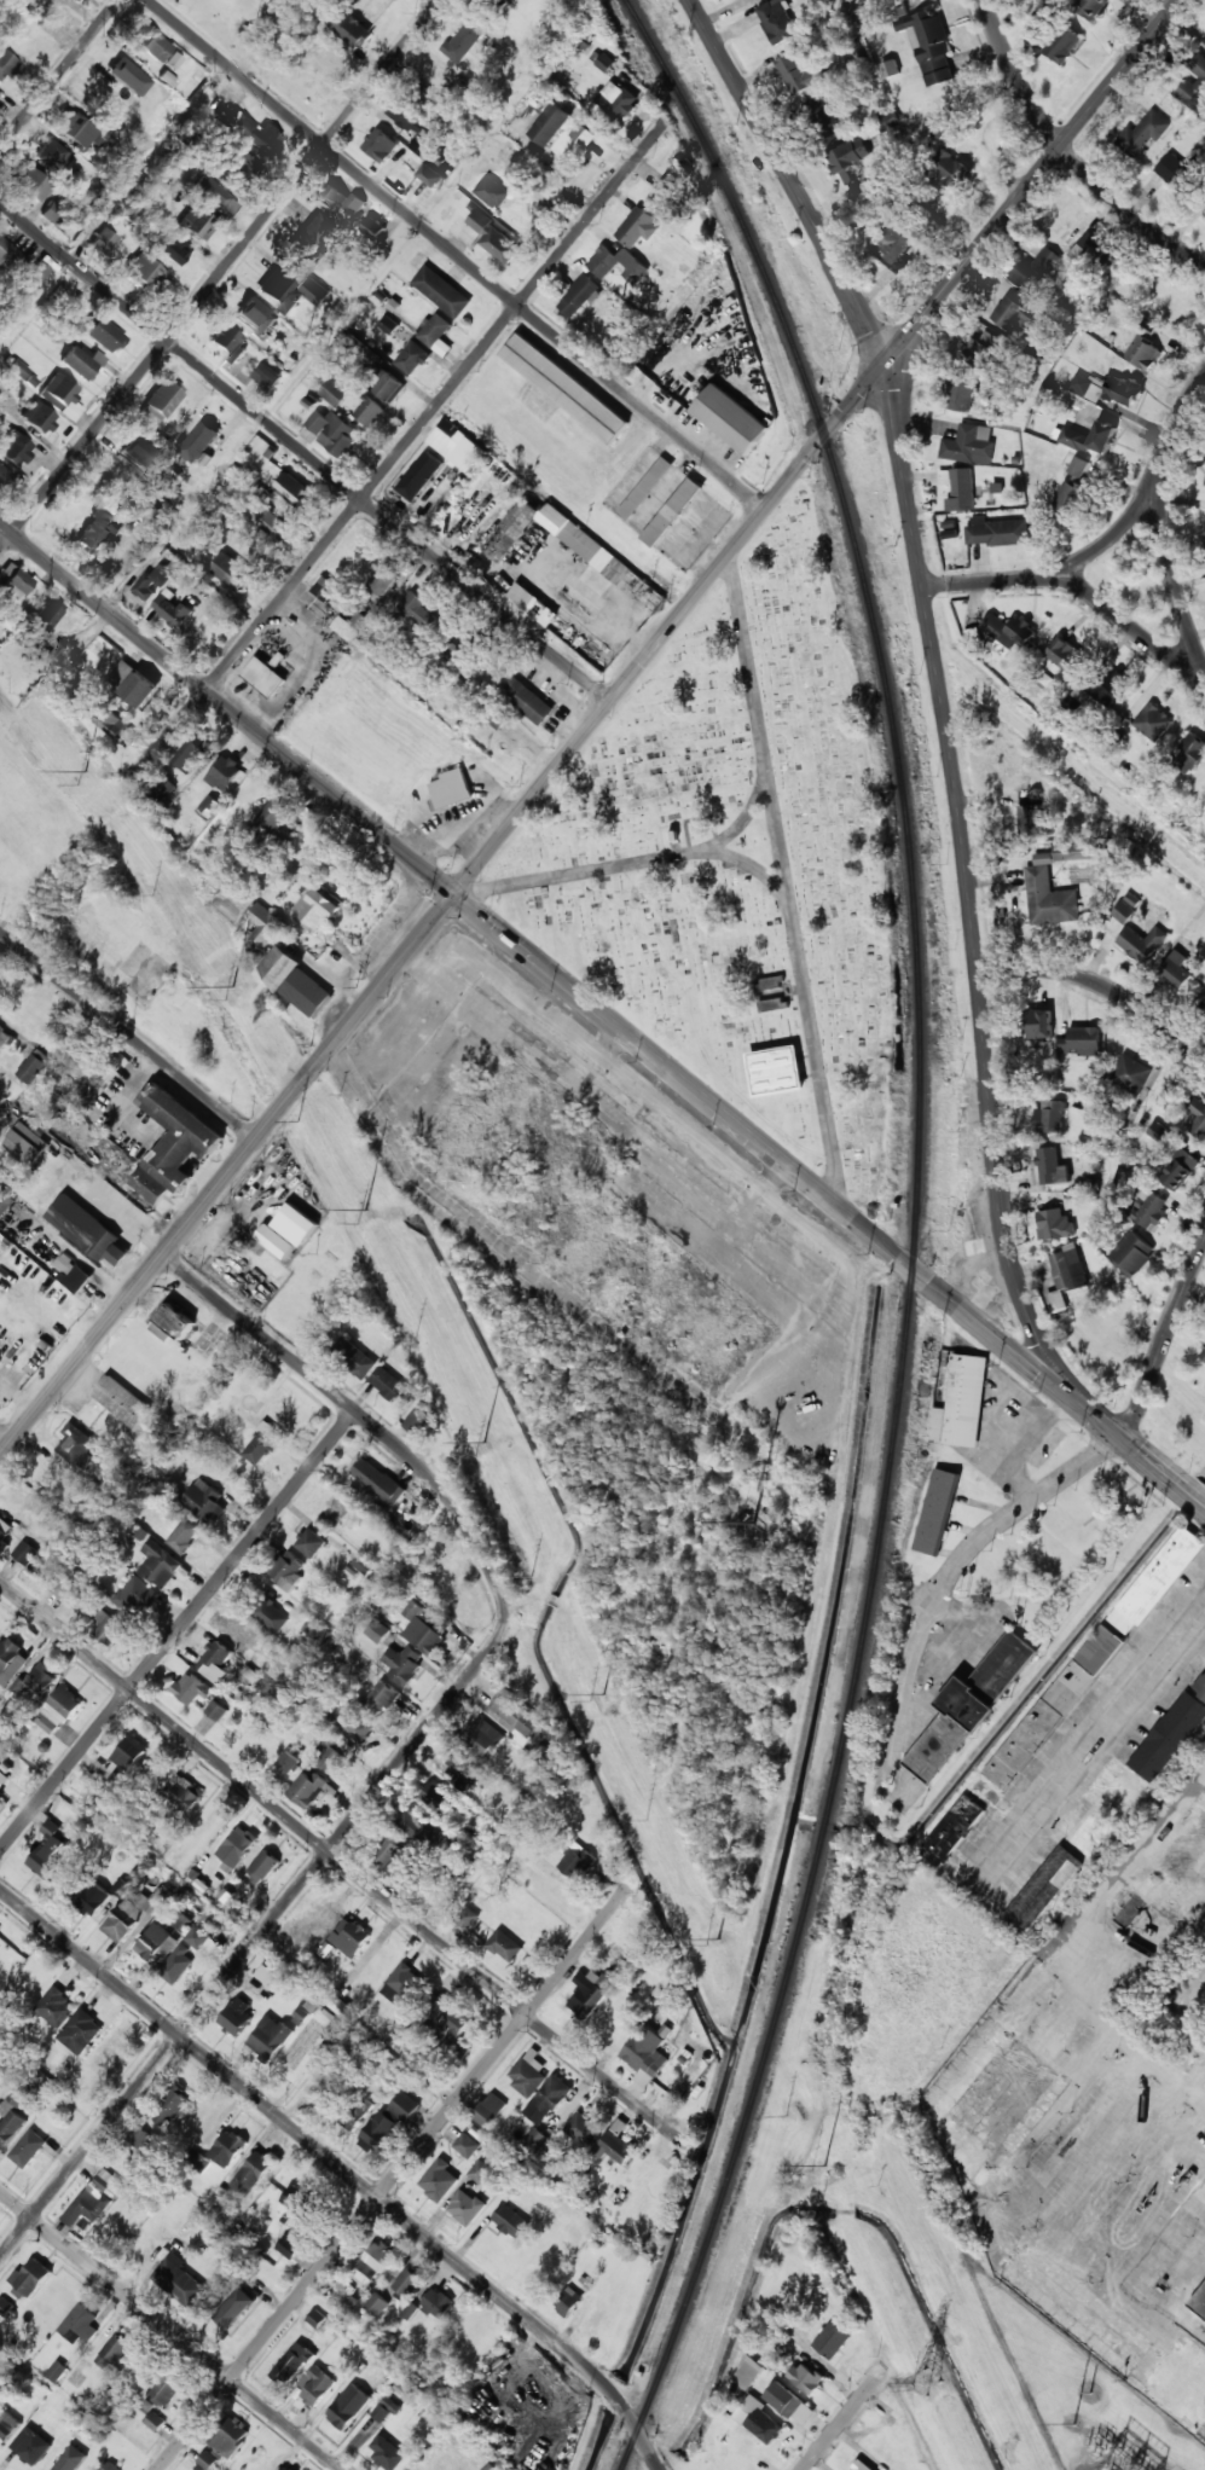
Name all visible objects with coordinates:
building: (1090, 7)
building: (776, 22)
building: (347, 29)
building: (1203, 39)
building: (463, 41)
building: (150, 42)
building: (928, 45)
building: (1062, 45)
building: (172, 62)
building: (5, 63)
building: (890, 69)
road: (59, 75)
building: (128, 77)
building: (1193, 85)
building: (618, 99)
building: (827, 117)
building: (888, 121)
building: (421, 123)
building: (551, 124)
building: (939, 128)
building: (583, 134)
building: (1142, 134)
building: (254, 135)
building: (381, 145)
road: (1068, 153)
building: (53, 157)
building: (848, 160)
building: (948, 168)
building: (1172, 169)
building: (433, 175)
road: (788, 180)
building: (30, 182)
road: (1031, 182)
building: (492, 191)
building: (1203, 195)
building: (216, 198)
building: (340, 201)
building: (665, 201)
building: (53, 213)
building: (196, 224)
building: (373, 227)
building: (637, 227)
building: (312, 232)
building: (496, 238)
building: (104, 240)
building: (896, 245)
building: (175, 250)
building: (7, 254)
road: (456, 254)
building: (616, 263)
building: (1033, 269)
building: (35, 274)
building: (144, 274)
road: (221, 274)
building: (291, 290)
building: (441, 291)
building: (578, 296)
building: (1118, 307)
building: (1014, 315)
building: (248, 317)
building: (434, 329)
building: (103, 334)
building: (228, 343)
building: (981, 349)
building: (1145, 353)
building: (283, 358)
building: (412, 358)
building: (81, 363)
building: (18, 369)
building: (267, 376)
building: (388, 387)
building: (564, 388)
building: (1107, 388)
building: (334, 392)
building: (961, 393)
building: (62, 396)
building: (161, 402)
building: (370, 412)
building: (39, 417)
building: (730, 418)
building: (332, 431)
building: (1090, 437)
building: (199, 441)
building: (969, 443)
building: (456, 445)
building: (15, 448)
building: (135, 451)
road: (306, 452)
building: (1078, 466)
building: (2, 474)
road: (381, 475)
building: (419, 476)
building: (1204, 485)
building: (645, 487)
building: (958, 488)
building: (294, 491)
building: (1066, 497)
building: (672, 511)
building: (270, 521)
building: (1204, 522)
building: (997, 532)
building: (95, 533)
road: (1110, 541)
building: (569, 545)
building: (231, 572)
road: (1174, 579)
building: (153, 581)
building: (381, 581)
building: (13, 582)
building: (325, 587)
building: (533, 604)
building: (173, 608)
building: (419, 613)
building: (47, 615)
building: (997, 624)
building: (352, 625)
road: (1134, 627)
building: (1018, 633)
building: (54, 648)
building: (1065, 655)
building: (122, 674)
building: (263, 677)
building: (1111, 685)
building: (140, 690)
building: (527, 701)
building: (1152, 721)
building: (117, 726)
building: (192, 752)
building: (1190, 752)
power tower: (83, 771)
building: (224, 772)
building: (161, 787)
building: (451, 789)
building: (209, 806)
building: (1029, 808)
building: (273, 816)
road: (736, 830)
building: (1072, 851)
park: (738, 863)
road: (749, 865)
road: (969, 886)
traffic signals: (456, 894)
building: (1049, 895)
building: (314, 906)
building: (1125, 909)
road: (441, 910)
building: (265, 926)
road: (2, 937)
building: (1142, 943)
road: (535, 959)
building: (1175, 969)
building: (294, 981)
road: (805, 986)
power tower: (232, 987)
road: (1089, 990)
building: (1201, 1002)
building: (1204, 1016)
building: (1039, 1024)
building: (1, 1028)
road: (127, 1034)
building: (1082, 1042)
building: (34, 1066)
building: (776, 1071)
building: (1130, 1075)
building: (1093, 1111)
building: (1050, 1115)
building: (1198, 1118)
building: (1158, 1131)
building: (25, 1143)
building: (174, 1144)
building: (1052, 1166)
building: (1178, 1170)
building: (5, 1201)
power tower: (365, 1212)
building: (1149, 1212)
building: (296, 1224)
building: (1054, 1224)
railway: (915, 1228)
building: (87, 1230)
building: (276, 1241)
building: (1132, 1253)
building: (1068, 1270)
building: (76, 1279)
building: (172, 1323)
road: (1165, 1347)
building: (1203, 1355)
building: (0, 1361)
building: (360, 1363)
building: (388, 1382)
building: (122, 1402)
building: (962, 1403)
road: (361, 1415)
building: (418, 1419)
road: (4, 1440)
power tower: (485, 1443)
building: (263, 1444)
building: (77, 1445)
road: (1134, 1459)
building: (378, 1482)
building: (204, 1501)
building: (937, 1512)
building: (184, 1535)
building: (4, 1536)
building: (311, 1543)
building: (24, 1552)
road: (950, 1559)
building: (161, 1564)
building: (363, 1564)
building: (288, 1570)
building: (1157, 1581)
building: (65, 1585)
building: (137, 1596)
building: (270, 1614)
building: (312, 1627)
building: (424, 1627)
building: (109, 1628)
road: (178, 1630)
building: (236, 1631)
building: (378, 1631)
building: (11, 1660)
building: (215, 1662)
building: (404, 1664)
building: (35, 1676)
building: (1200, 1687)
building: (192, 1688)
power tower: (603, 1695)
building: (381, 1697)
building: (1054, 1706)
building: (968, 1707)
building: (58, 1710)
building: (216, 1710)
building: (516, 1714)
building: (483, 1736)
building: (1169, 1736)
building: (131, 1751)
road: (1087, 1752)
building: (331, 1755)
building: (2, 1779)
building: (467, 1780)
building: (307, 1790)
building: (183, 1792)
building: (439, 1798)
building: (0, 1801)
building: (1, 1813)
building: (421, 1827)
building: (952, 1830)
building: (1089, 1832)
building: (237, 1845)
building: (47, 1851)
building: (388, 1852)
building: (577, 1861)
road: (342, 1863)
building: (262, 1867)
building: (1198, 1882)
building: (1044, 1888)
building: (93, 1897)
building: (1126, 1907)
building: (134, 1912)
building: (465, 1917)
building: (323, 1924)
building: (1158, 1930)
building: (198, 1937)
building: (349, 1937)
power tower: (718, 1940)
road: (255, 1941)
building: (156, 1942)
building: (504, 1946)
building: (297, 1948)
building: (176, 1965)
building: (266, 1975)
building: (404, 1987)
building: (590, 1994)
building: (56, 2007)
building: (237, 2014)
building: (447, 2017)
building: (81, 2031)
building: (268, 2037)
building: (645, 2054)
building: (1198, 2064)
building: (528, 2074)
building: (548, 2099)
building: (173, 2105)
building: (489, 2109)
building: (357, 2114)
building: (11, 2117)
building: (387, 2122)
building: (583, 2128)
building: (138, 2136)
building: (534, 2139)
building: (615, 2143)
building: (467, 2145)
building: (28, 2149)
building: (227, 2149)
road: (324, 2155)
power tower: (825, 2165)
building: (480, 2172)
building: (251, 2174)
road: (393, 2178)
building: (439, 2180)
building: (95, 2197)
building: (465, 2207)
building: (511, 2221)
building: (372, 2262)
building: (29, 2278)
building: (180, 2280)
building: (406, 2284)
building: (568, 2301)
building: (436, 2303)
building: (1199, 2303)
building: (376, 2304)
building: (6, 2306)
building: (234, 2308)
building: (317, 2319)
building: (81, 2324)
road: (169, 2330)
building: (832, 2339)
building: (112, 2353)
building: (292, 2364)
building: (57, 2371)
building: (748, 2372)
building: (806, 2377)
building: (1181, 2381)
power tower: (927, 2384)
building: (314, 2385)
building: (167, 2388)
power substation: (1084, 2396)
building: (790, 2402)
building: (348, 2406)
building: (386, 2410)
building: (758, 2419)
building: (155, 2420)
road: (841, 2422)
building: (7, 2425)
building: (230, 2436)
building: (31, 2446)
road: (651, 2451)
building: (387, 2452)
building: (71, 2459)
building: (205, 2462)
building: (110, 2466)
building: (861, 2466)
building: (285, 2469)

